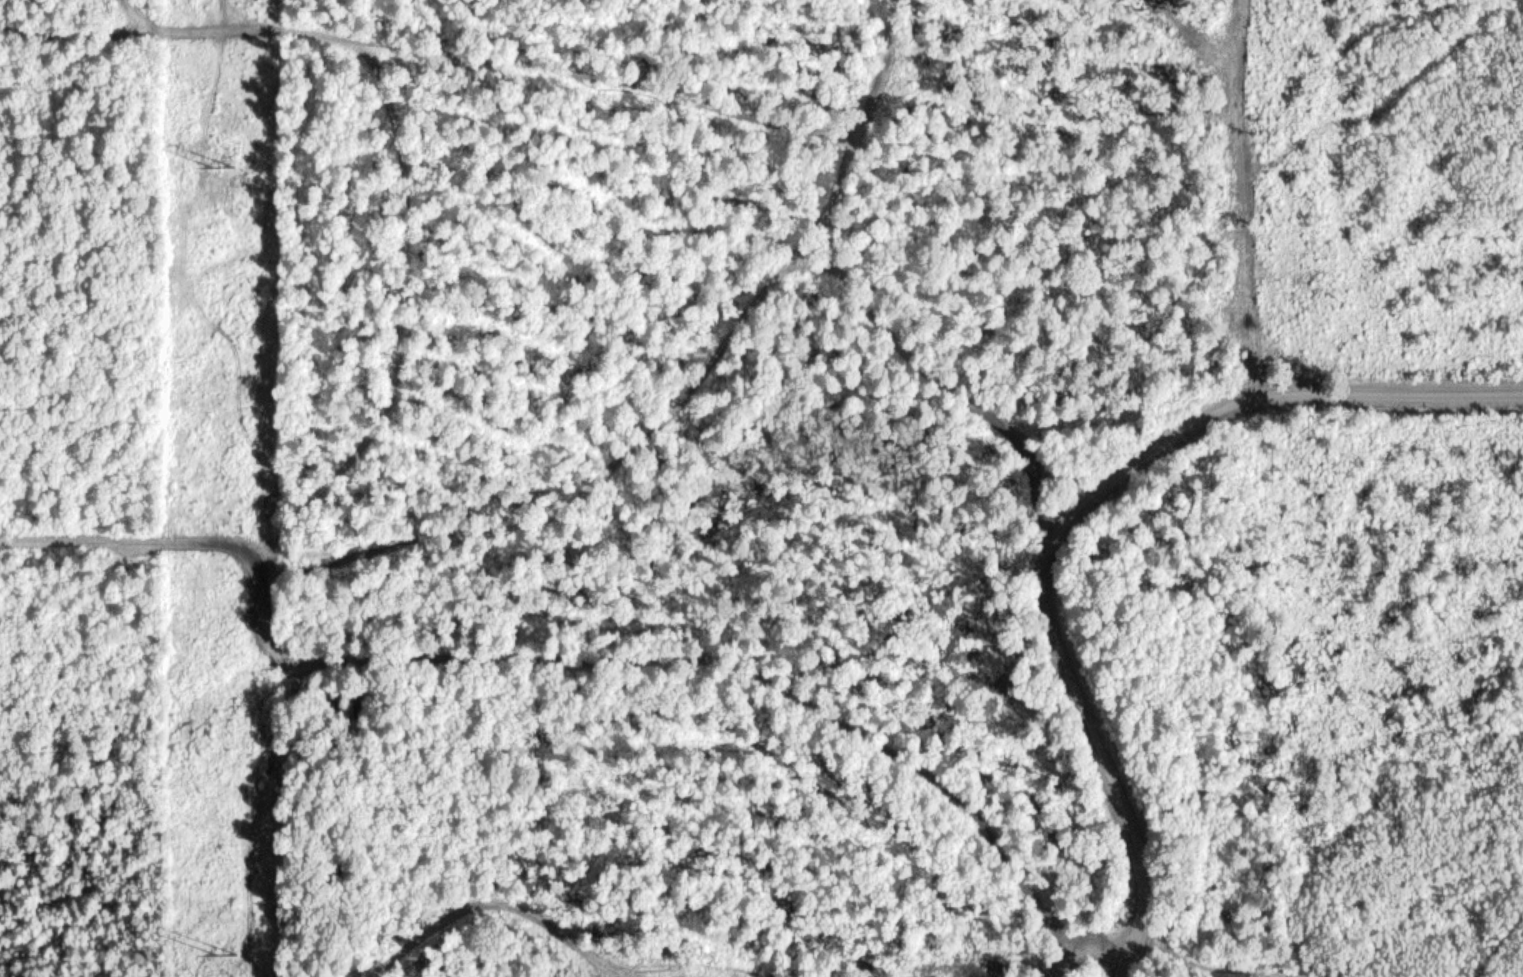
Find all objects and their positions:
road: (215, 14)
road: (431, 49)
power tower: (225, 168)
road: (863, 295)
road: (1267, 405)
road: (546, 657)
road: (1101, 754)
power tower: (225, 951)

